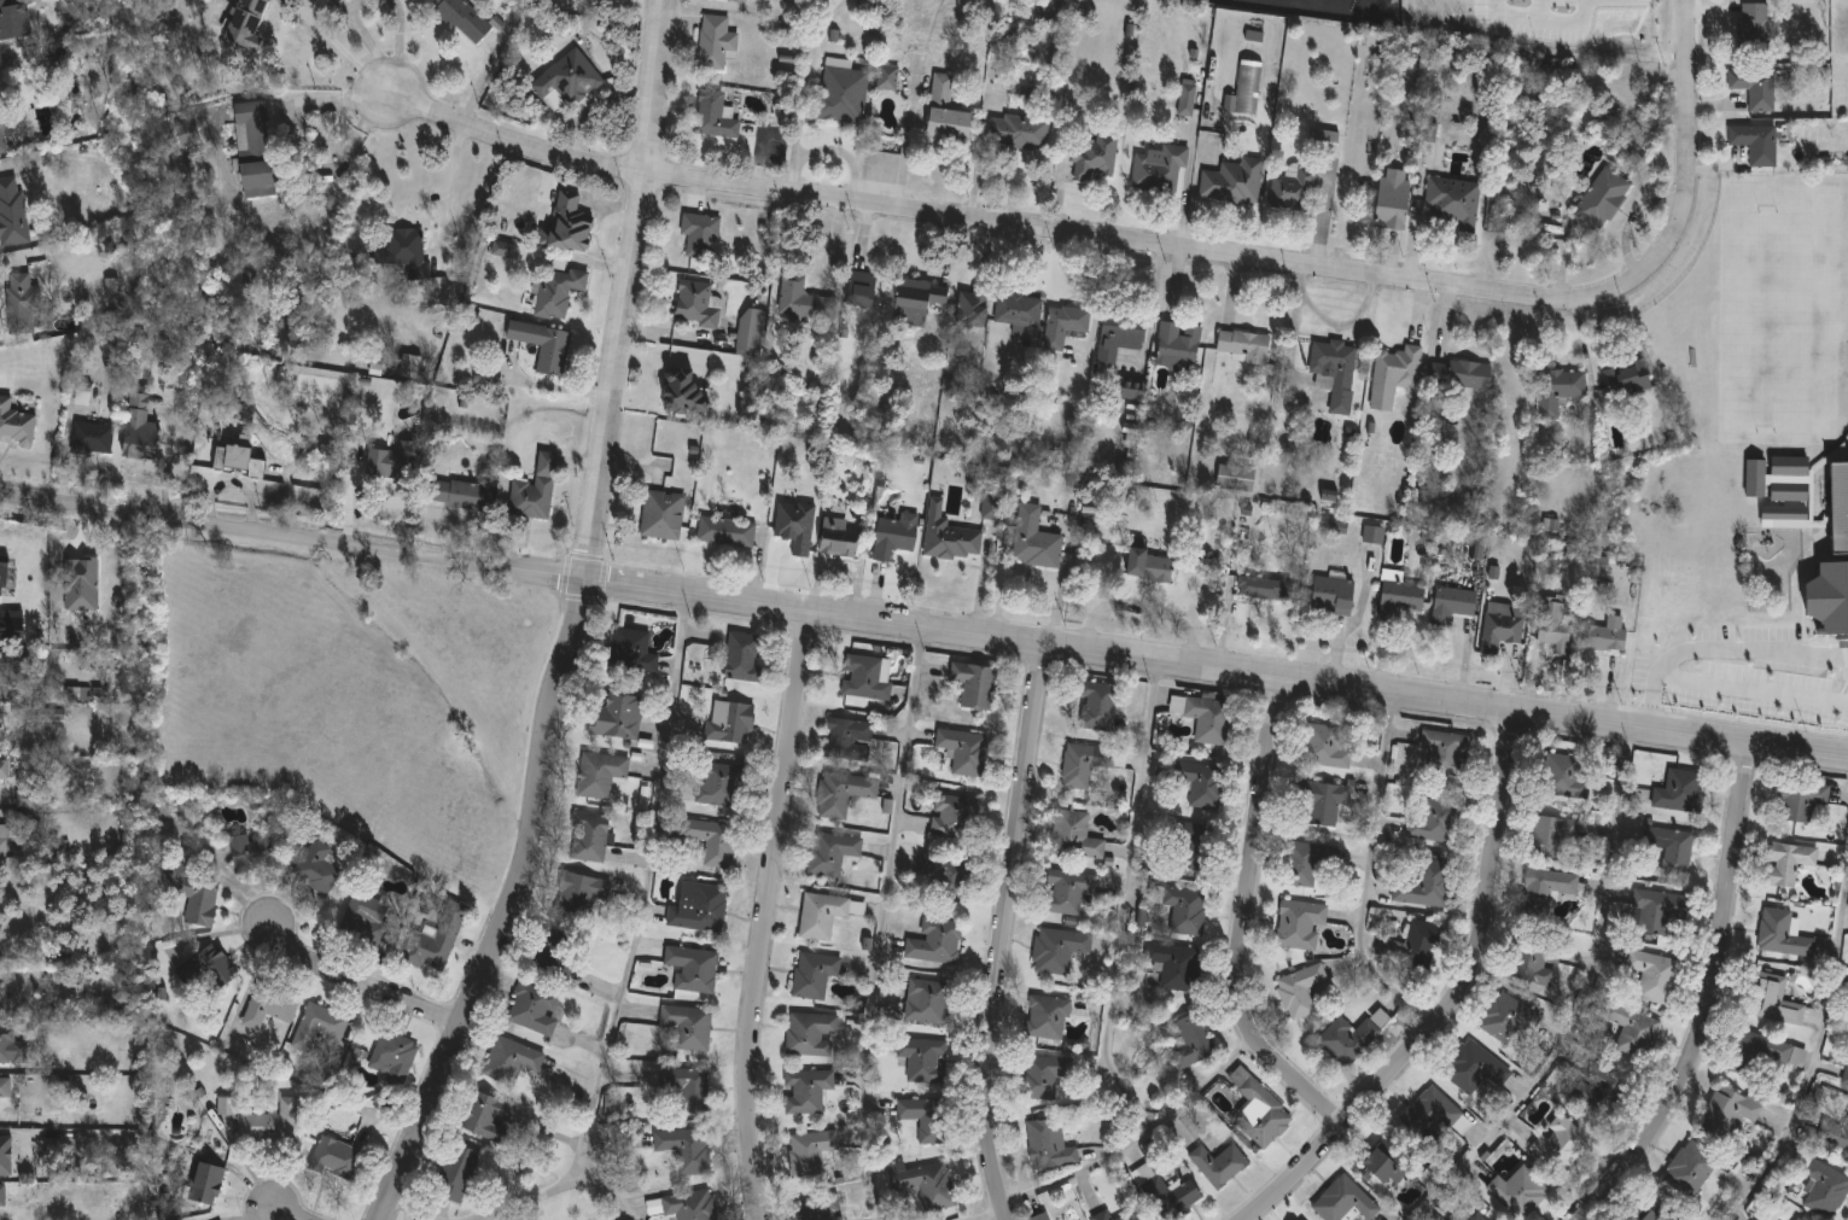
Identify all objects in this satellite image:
building: (741, 0)
building: (868, 5)
road: (1598, 5)
park: (1343, 10)
road: (1551, 14)
building: (462, 16)
building: (13, 19)
parking lot: (1560, 22)
building: (246, 23)
building: (1754, 25)
road: (1572, 31)
building: (716, 41)
road: (343, 45)
building: (625, 54)
building: (887, 77)
building: (566, 81)
building: (1755, 86)
road: (391, 89)
building: (1246, 89)
building: (843, 92)
building: (1188, 97)
building: (1436, 98)
building: (946, 110)
building: (715, 115)
building: (5, 128)
building: (187, 130)
building: (1018, 130)
building: (1429, 132)
building: (1323, 140)
building: (1755, 142)
building: (255, 150)
road: (293, 151)
building: (1095, 157)
building: (1160, 169)
building: (1235, 181)
road: (450, 186)
building: (1293, 189)
building: (1394, 198)
building: (1603, 198)
building: (1452, 200)
building: (13, 210)
road: (1324, 211)
building: (569, 224)
building: (701, 233)
road: (1160, 245)
building: (506, 249)
building: (409, 250)
building: (862, 288)
building: (559, 290)
building: (803, 298)
building: (917, 300)
building: (22, 302)
building: (698, 302)
building: (974, 307)
building: (1019, 308)
building: (1066, 323)
building: (752, 328)
building: (1120, 334)
building: (1179, 342)
building: (544, 344)
building: (1243, 344)
building: (1399, 364)
building: (1336, 369)
building: (1462, 373)
building: (1628, 378)
building: (311, 379)
building: (1132, 389)
building: (1560, 389)
building: (684, 391)
building: (16, 422)
building: (140, 425)
building: (93, 437)
building: (237, 459)
building: (390, 462)
building: (1790, 466)
building: (1236, 477)
building: (1756, 477)
building: (535, 488)
building: (1790, 490)
building: (460, 494)
building: (1837, 506)
building: (991, 507)
building: (663, 513)
building: (1785, 513)
building: (797, 525)
building: (727, 530)
building: (1374, 533)
building: (896, 535)
building: (951, 535)
building: (840, 536)
building: (1036, 538)
building: (1480, 547)
building: (1149, 562)
building: (1601, 564)
building: (2, 576)
building: (82, 584)
building: (1264, 586)
building: (1333, 594)
building: (1401, 599)
building: (1452, 603)
road: (923, 624)
building: (1556, 624)
building: (12, 625)
road: (578, 625)
building: (1502, 630)
building: (1609, 634)
building: (631, 649)
road: (1722, 652)
building: (744, 655)
building: (5, 667)
building: (864, 677)
building: (975, 683)
road: (1755, 689)
building: (69, 694)
park: (357, 695)
building: (1097, 705)
building: (617, 714)
building: (1205, 717)
building: (1, 718)
building: (731, 723)
building: (849, 737)
building: (1324, 747)
building: (963, 749)
building: (1446, 752)
building: (1080, 764)
building: (5, 766)
building: (600, 772)
building: (1564, 776)
building: (716, 782)
building: (1202, 783)
building: (1679, 790)
building: (844, 792)
building: (25, 798)
building: (1802, 799)
building: (1324, 802)
building: (951, 815)
building: (1435, 822)
building: (1074, 834)
building: (1552, 834)
building: (589, 835)
building: (711, 839)
building: (5, 840)
building: (1193, 846)
building: (1672, 847)
building: (252, 850)
building: (832, 851)
building: (1789, 862)
building: (1304, 863)
building: (316, 868)
building: (943, 872)
road: (1368, 875)
building: (1427, 885)
building: (1545, 891)
building: (191, 892)
building: (581, 892)
building: (1068, 892)
building: (699, 906)
building: (1182, 906)
building: (1656, 911)
road: (769, 913)
building: (822, 913)
building: (365, 921)
road: (882, 922)
road: (1242, 922)
building: (1300, 923)
road: (1008, 930)
building: (1783, 934)
road: (636, 939)
building: (435, 940)
building: (935, 941)
building: (1412, 946)
building: (1059, 948)
building: (554, 952)
building: (1535, 961)
road: (1117, 964)
building: (1176, 964)
building: (693, 967)
building: (208, 969)
building: (814, 974)
building: (1654, 975)
road: (360, 986)
building: (1299, 990)
road: (1455, 999)
road: (1713, 999)
building: (927, 1000)
road: (1587, 1000)
building: (1774, 1000)
building: (270, 1003)
building: (535, 1008)
building: (0, 1016)
building: (1048, 1016)
building: (1508, 1017)
building: (317, 1025)
building: (688, 1026)
building: (1633, 1029)
building: (811, 1033)
building: (1352, 1035)
building: (1193, 1039)
building: (6, 1043)
building: (1765, 1053)
road: (1815, 1057)
building: (393, 1058)
building: (923, 1058)
building: (511, 1060)
building: (1475, 1067)
building: (1045, 1074)
building: (1846, 1076)
building: (5, 1085)
building: (687, 1086)
building: (1599, 1088)
building: (805, 1090)
building: (227, 1105)
building: (608, 1107)
building: (1259, 1109)
building: (1730, 1109)
building: (1432, 1114)
building: (489, 1116)
building: (923, 1116)
building: (270, 1122)
building: (1835, 1132)
building: (1050, 1144)
building: (1561, 1144)
building: (686, 1148)
building: (810, 1151)
building: (6, 1154)
building: (337, 1158)
building: (1394, 1158)
building: (1219, 1163)
building: (1690, 1169)
building: (455, 1171)
road: (1080, 1171)
building: (206, 1183)
building: (927, 1184)
building: (1823, 1185)
building: (1522, 1191)
road: (611, 1192)
building: (2, 1193)
building: (1171, 1196)
building: (1343, 1201)
building: (690, 1206)
building: (820, 1207)
road: (415, 1209)
building: (1651, 1212)
road: (281, 1213)
road: (984, 1214)
building: (1102, 1215)
building: (1040, 1216)
building: (1127, 1216)
building: (1479, 1216)
building: (1300, 1219)
building: (1452, 1219)
building: (1797, 1219)

